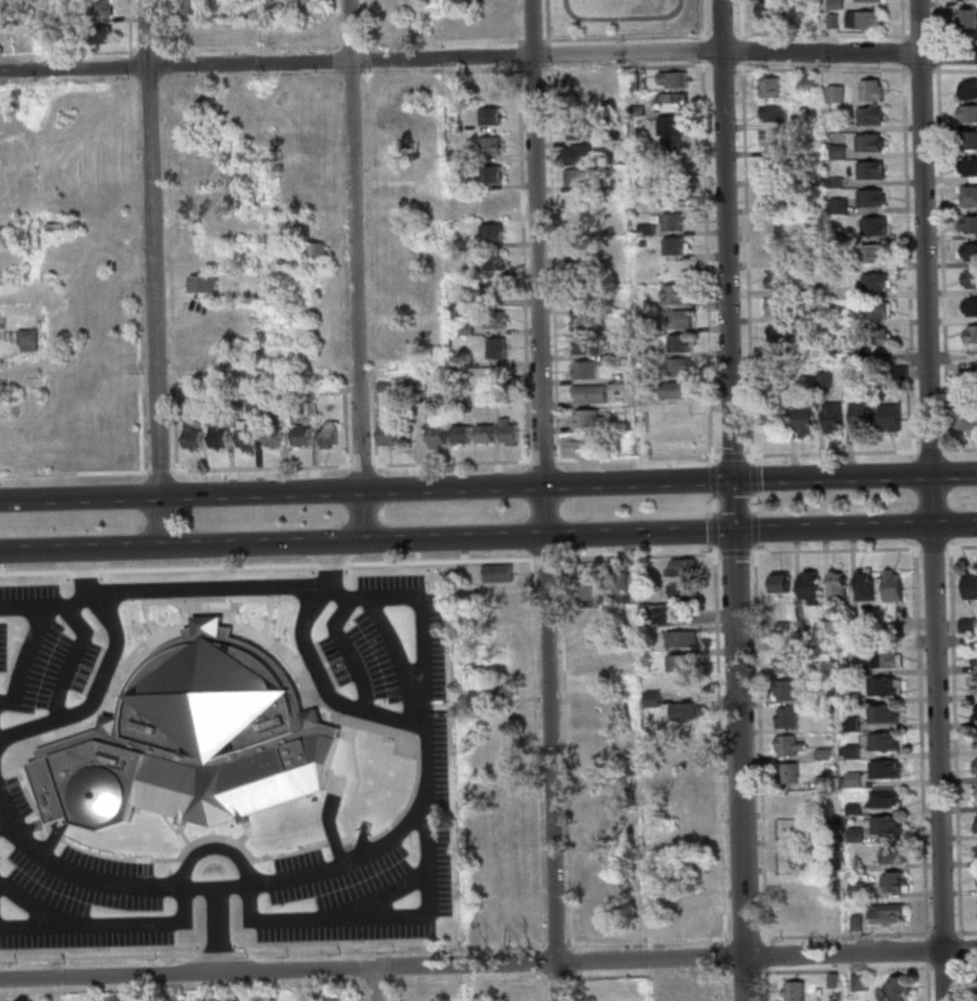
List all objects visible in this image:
building: (865, 0)
building: (958, 0)
building: (487, 1)
building: (832, 4)
building: (189, 7)
building: (96, 8)
building: (766, 12)
road: (619, 17)
building: (965, 19)
road: (697, 20)
building: (861, 20)
building: (830, 21)
road: (934, 21)
building: (485, 22)
road: (544, 22)
road: (514, 23)
road: (332, 25)
road: (363, 25)
road: (719, 25)
road: (163, 27)
road: (127, 28)
building: (198, 31)
road: (817, 34)
building: (97, 35)
road: (719, 35)
road: (916, 36)
road: (952, 37)
building: (67, 38)
road: (623, 38)
road: (530, 41)
road: (439, 43)
road: (348, 45)
road: (247, 46)
road: (698, 50)
road: (145, 51)
road: (67, 53)
road: (848, 53)
road: (935, 54)
road: (545, 55)
road: (515, 56)
road: (740, 57)
road: (901, 59)
road: (364, 60)
road: (128, 61)
road: (334, 61)
road: (360, 61)
road: (164, 64)
road: (720, 66)
road: (624, 67)
road: (530, 69)
road: (819, 69)
road: (440, 71)
road: (918, 71)
road: (953, 71)
road: (349, 74)
road: (248, 77)
building: (670, 79)
building: (631, 82)
road: (16, 83)
building: (804, 84)
building: (485, 87)
building: (767, 87)
building: (968, 90)
building: (868, 91)
building: (833, 94)
building: (667, 103)
building: (634, 111)
building: (771, 113)
building: (967, 113)
building: (487, 115)
building: (868, 116)
building: (802, 123)
building: (668, 126)
building: (452, 127)
building: (576, 131)
building: (771, 140)
building: (967, 140)
building: (866, 142)
building: (487, 145)
building: (835, 153)
building: (574, 154)
building: (452, 155)
building: (772, 168)
building: (966, 168)
road: (166, 170)
building: (868, 170)
building: (489, 175)
building: (801, 177)
building: (575, 178)
building: (973, 179)
building: (618, 182)
building: (831, 182)
building: (779, 195)
building: (968, 196)
building: (670, 197)
building: (868, 198)
building: (490, 203)
building: (836, 205)
road: (366, 218)
road: (338, 220)
building: (670, 222)
building: (776, 223)
building: (968, 225)
building: (871, 226)
building: (62, 227)
building: (644, 229)
building: (489, 233)
building: (839, 237)
building: (671, 246)
building: (578, 249)
building: (313, 251)
building: (775, 251)
building: (969, 252)
building: (613, 254)
building: (868, 254)
road: (905, 257)
road: (939, 257)
building: (491, 262)
road: (521, 262)
road: (550, 262)
road: (704, 262)
road: (744, 263)
road: (355, 270)
road: (151, 273)
road: (924, 273)
building: (581, 276)
building: (777, 279)
building: (969, 280)
building: (872, 282)
building: (199, 284)
building: (490, 290)
building: (587, 295)
building: (675, 295)
road: (726, 302)
building: (774, 306)
building: (969, 307)
building: (870, 309)
building: (675, 319)
building: (492, 320)
building: (581, 321)
building: (462, 329)
building: (970, 334)
building: (776, 336)
building: (875, 337)
building: (26, 340)
building: (677, 343)
building: (583, 346)
building: (840, 347)
building: (495, 348)
building: (812, 348)
building: (617, 351)
road: (171, 365)
building: (675, 367)
building: (582, 370)
building: (972, 370)
building: (642, 376)
building: (823, 380)
building: (510, 383)
building: (383, 387)
building: (490, 389)
building: (674, 390)
building: (307, 391)
building: (220, 392)
building: (280, 393)
building: (588, 394)
building: (251, 404)
road: (136, 406)
building: (965, 415)
road: (371, 416)
building: (830, 416)
building: (858, 416)
building: (888, 417)
road: (343, 418)
building: (588, 419)
building: (802, 420)
building: (185, 426)
building: (506, 432)
building: (482, 433)
building: (326, 434)
building: (459, 434)
building: (215, 435)
building: (271, 435)
building: (298, 435)
building: (386, 435)
building: (243, 436)
building: (434, 437)
building: (582, 441)
road: (957, 449)
road: (928, 451)
road: (829, 453)
road: (729, 455)
road: (634, 457)
road: (540, 460)
road: (449, 463)
road: (358, 466)
road: (174, 469)
road: (750, 472)
road: (710, 474)
traffic signals: (731, 480)
road: (488, 486)
road: (542, 500)
traffic signals: (733, 531)
road: (488, 538)
road: (959, 547)
road: (930, 548)
road: (833, 550)
road: (732, 553)
road: (635, 555)
road: (543, 559)
road: (530, 560)
road: (328, 564)
building: (643, 567)
road: (204, 568)
building: (680, 568)
road: (32, 572)
road: (80, 572)
building: (499, 572)
building: (778, 584)
building: (862, 585)
building: (969, 585)
building: (616, 587)
building: (806, 587)
building: (835, 587)
building: (889, 587)
road: (205, 589)
building: (586, 592)
building: (680, 592)
building: (500, 593)
road: (307, 594)
road: (103, 598)
road: (205, 601)
road: (46, 606)
road: (206, 609)
building: (656, 615)
road: (266, 618)
building: (503, 618)
road: (145, 621)
building: (965, 626)
building: (853, 628)
building: (782, 629)
building: (826, 629)
building: (679, 639)
road: (345, 652)
road: (21, 657)
building: (974, 658)
road: (67, 659)
road: (397, 660)
building: (884, 660)
building: (590, 662)
road: (530, 663)
building: (681, 663)
building: (784, 663)
road: (312, 666)
building: (851, 670)
road: (102, 671)
road: (301, 683)
building: (973, 684)
road: (111, 688)
building: (882, 688)
building: (504, 689)
building: (782, 691)
building: (849, 698)
building: (650, 699)
road: (316, 708)
building: (973, 711)
building: (683, 712)
road: (100, 714)
building: (881, 715)
building: (784, 719)
building: (850, 724)
building: (692, 733)
building: (190, 741)
building: (883, 742)
building: (975, 742)
road: (952, 744)
road: (918, 745)
building: (786, 746)
road: (757, 748)
road: (717, 749)
building: (848, 752)
building: (821, 754)
road: (563, 756)
building: (692, 758)
parking lot: (221, 762)
building: (975, 766)
building: (881, 770)
building: (786, 773)
road: (936, 774)
road: (738, 777)
building: (851, 780)
building: (685, 782)
building: (821, 782)
road: (355, 784)
road: (23, 792)
building: (975, 795)
road: (408, 798)
building: (881, 799)
building: (788, 800)
building: (690, 806)
building: (506, 809)
building: (852, 809)
road: (423, 810)
road: (327, 823)
building: (975, 824)
road: (168, 825)
building: (883, 825)
building: (824, 827)
building: (789, 828)
building: (510, 833)
road: (53, 834)
road: (243, 834)
building: (853, 835)
road: (179, 836)
road: (343, 839)
road: (48, 840)
road: (360, 841)
road: (192, 842)
road: (333, 842)
road: (211, 849)
building: (789, 855)
building: (890, 855)
building: (976, 856)
building: (854, 865)
road: (167, 867)
road: (170, 883)
building: (893, 883)
road: (217, 889)
building: (854, 890)
road: (187, 894)
road: (377, 897)
building: (692, 902)
building: (601, 903)
building: (509, 906)
road: (33, 908)
building: (792, 912)
building: (884, 914)
building: (853, 922)
road: (106, 924)
road: (201, 924)
building: (696, 924)
building: (601, 927)
building: (508, 930)
road: (215, 931)
road: (964, 932)
road: (940, 933)
road: (843, 935)
road: (743, 937)
road: (646, 941)
road: (554, 943)
road: (390, 948)
road: (958, 950)
road: (923, 951)
road: (386, 952)
road: (216, 954)
road: (762, 955)
road: (722, 956)
road: (97, 957)
road: (539, 962)
road: (570, 962)
road: (488, 963)
road: (964, 966)
road: (386, 967)
road: (941, 968)
road: (844, 970)
road: (743, 973)
road: (646, 976)
road: (554, 979)
building: (831, 980)
road: (463, 981)
road: (925, 981)
road: (959, 981)
road: (387, 982)
building: (857, 982)
road: (763, 983)
road: (371, 984)
road: (373, 984)
road: (723, 984)
road: (357, 985)
road: (570, 986)
road: (170, 987)
road: (539, 987)
building: (895, 989)
building: (792, 991)
building: (511, 992)
road: (358, 993)
road: (388, 993)
building: (219, 997)

